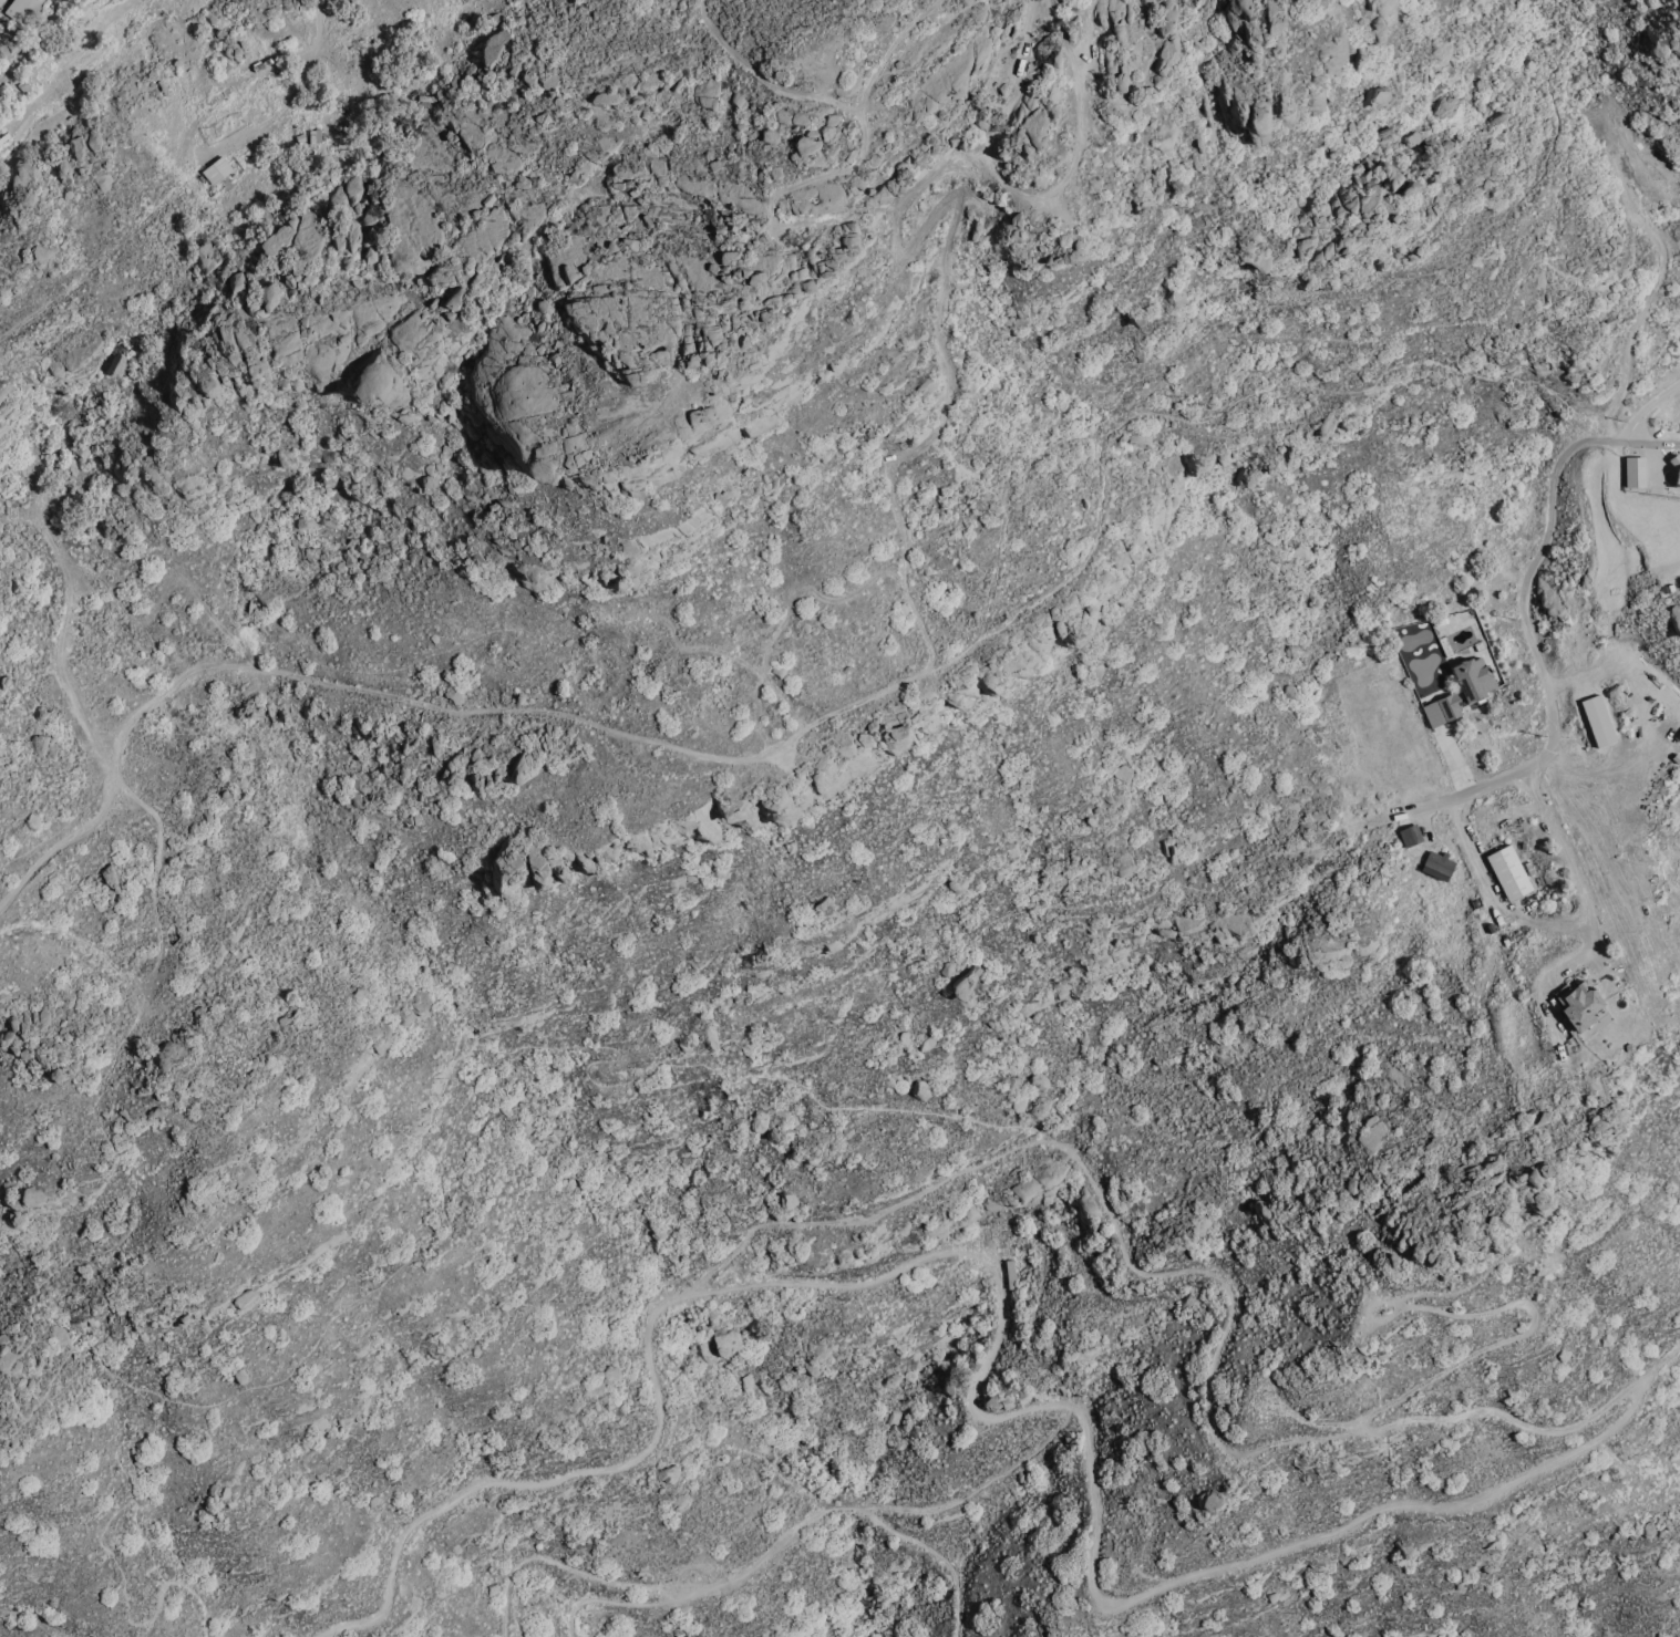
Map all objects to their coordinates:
building: (22, 10)
road: (319, 23)
building: (1373, 96)
building: (1444, 106)
building: (920, 107)
building: (980, 117)
road: (234, 126)
building: (216, 169)
building: (1389, 172)
building: (38, 253)
building: (205, 255)
building: (234, 269)
building: (268, 294)
building: (115, 363)
building: (1138, 439)
road: (1653, 441)
building: (1633, 470)
building: (1676, 472)
building: (1115, 556)
building: (339, 561)
building: (262, 594)
road: (1522, 605)
building: (1465, 685)
building: (38, 744)
building: (1122, 771)
building: (1409, 835)
road: (1567, 859)
building: (1122, 863)
building: (1436, 863)
building: (1508, 871)
building: (1577, 1003)
building: (1037, 1108)
building: (786, 1200)
road: (1214, 1275)
building: (724, 1339)
road: (983, 1360)
building: (666, 1471)
road: (772, 1547)
road: (938, 1553)
road: (610, 1599)

